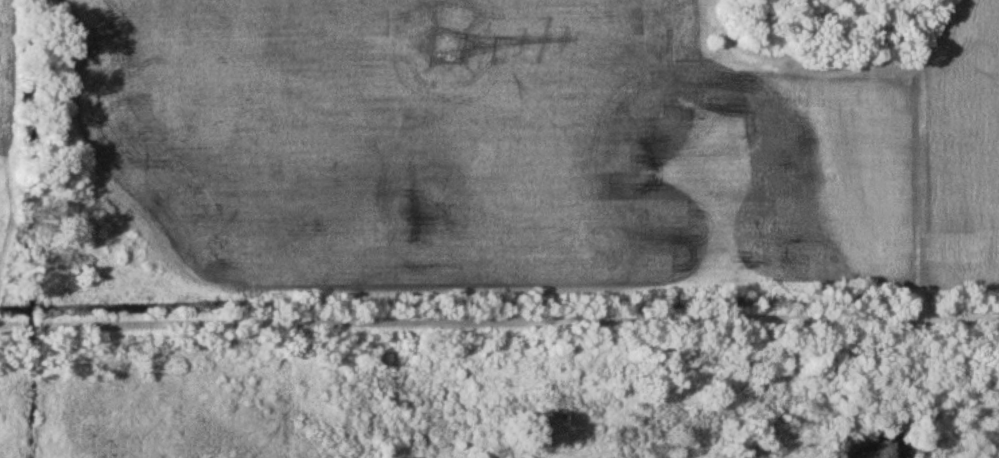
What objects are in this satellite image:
power tower: (448, 46)
road: (499, 321)

